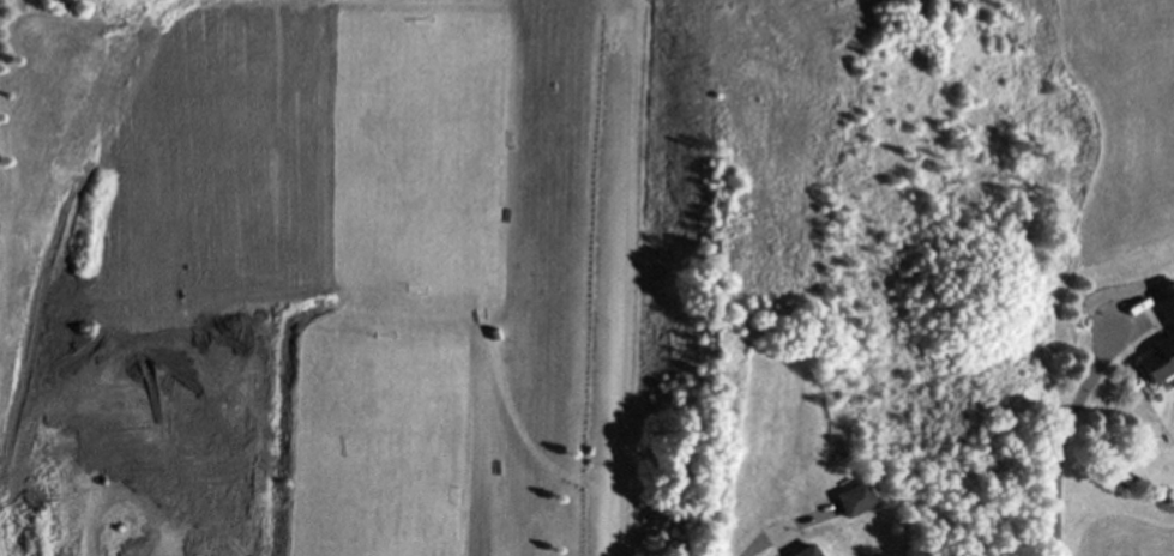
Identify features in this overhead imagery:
park: (415, 152)
building: (1167, 301)
road: (610, 333)
building: (1158, 361)
road: (1068, 431)
park: (379, 443)
building: (855, 498)
road: (766, 536)
building: (807, 550)

